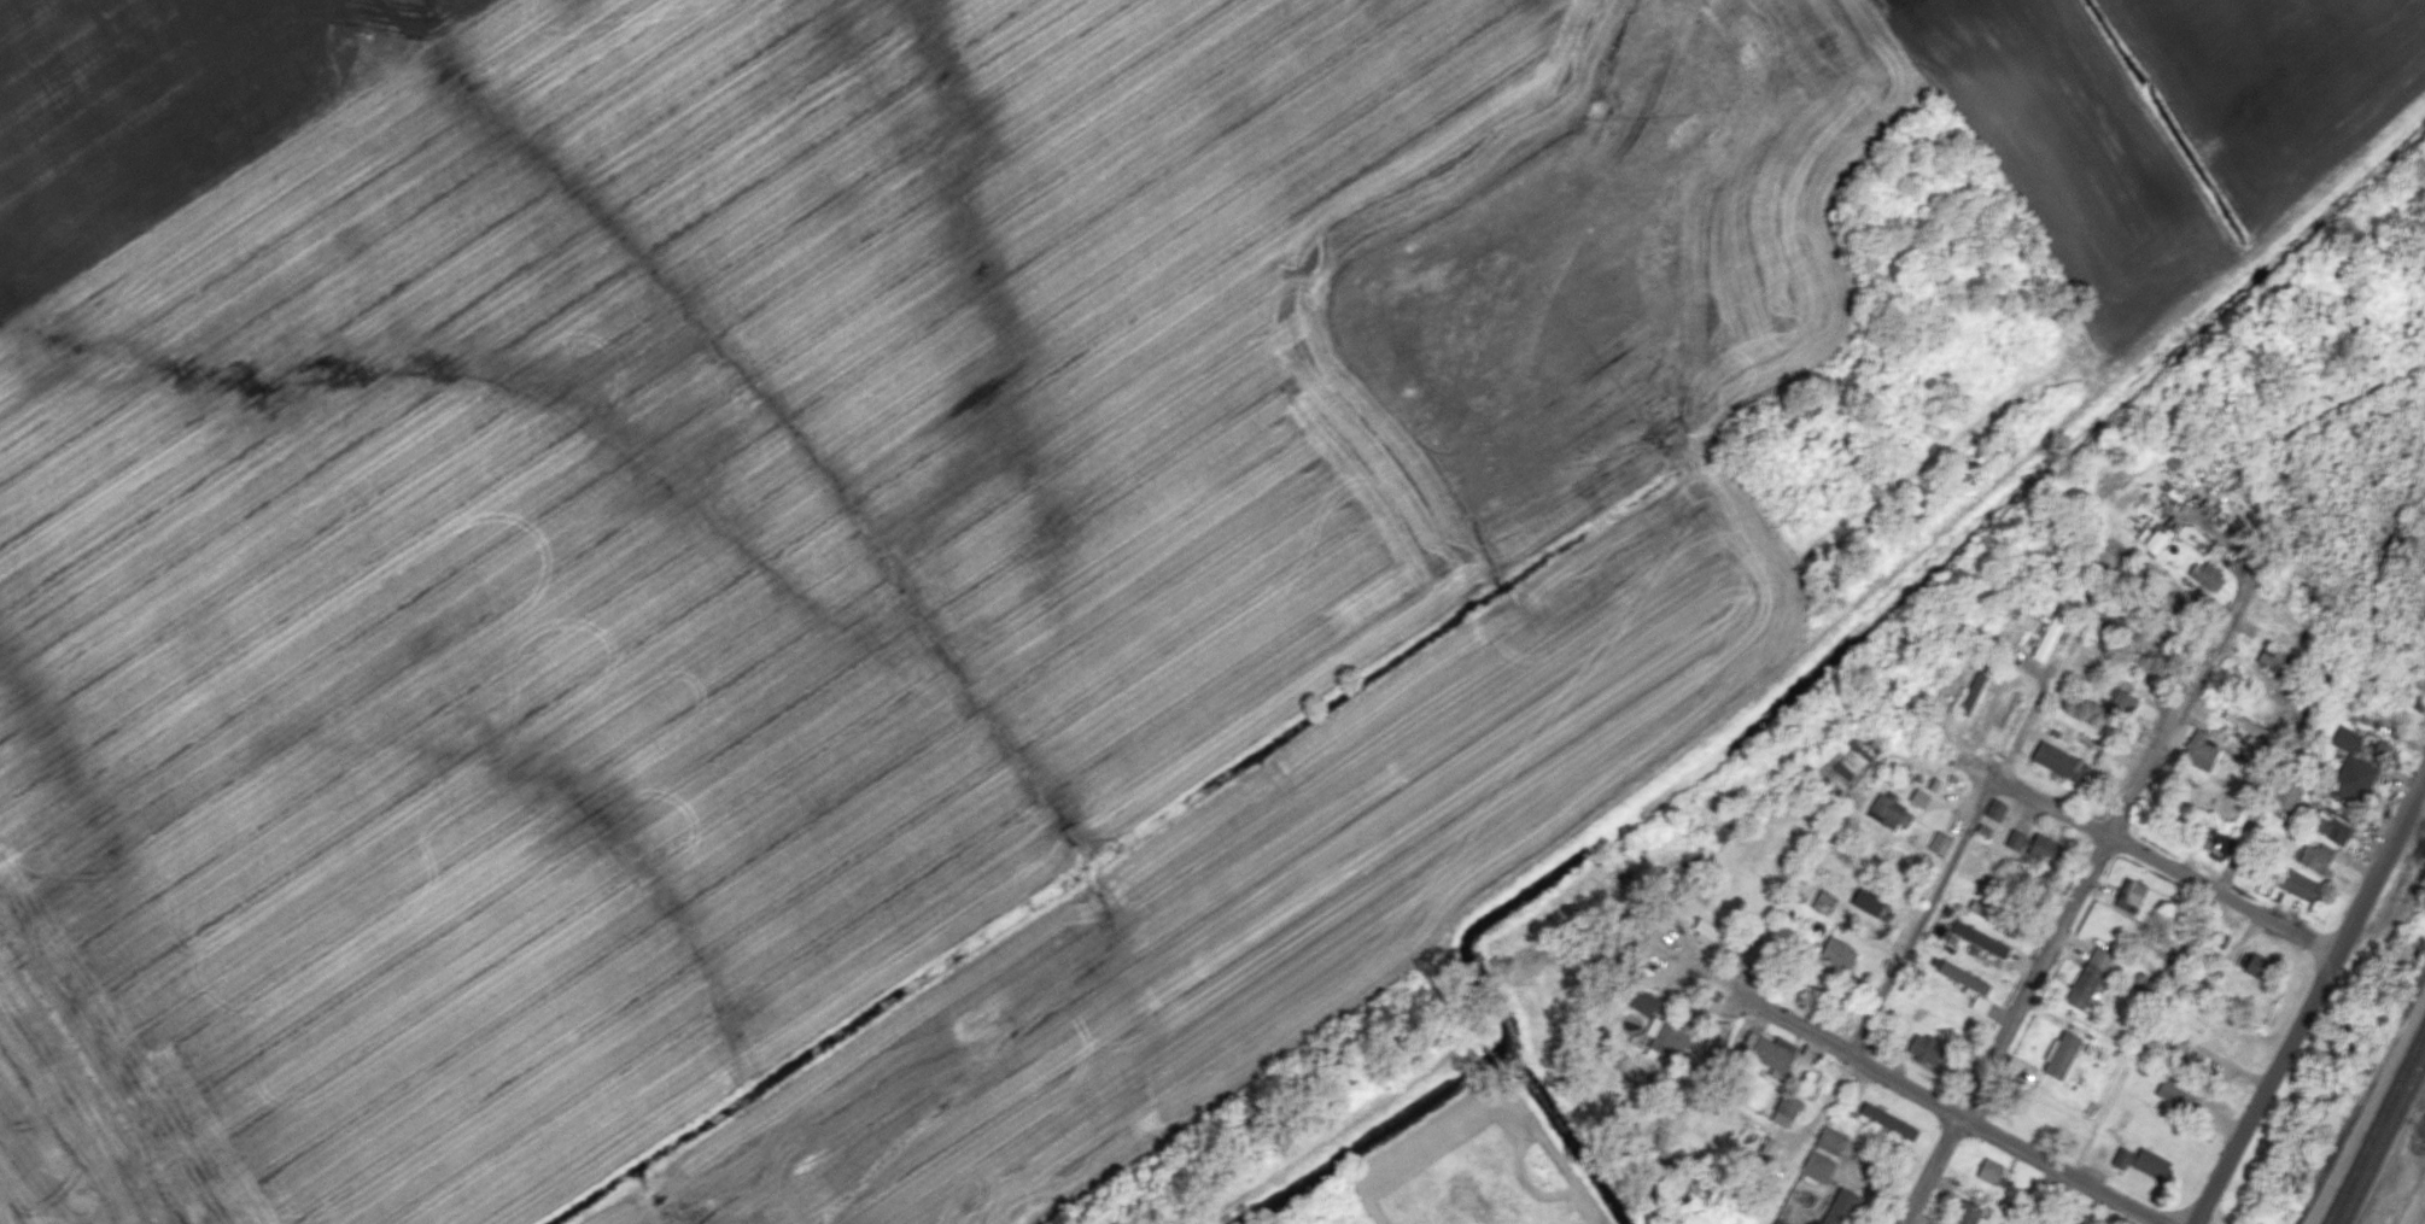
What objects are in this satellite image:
crop: (900, 531)
road: (2246, 560)
building: (2047, 639)
building: (2273, 661)
building: (1973, 689)
building: (2120, 703)
road: (2026, 719)
building: (2242, 722)
building: (2079, 725)
building: (2347, 739)
building: (2199, 750)
building: (2059, 761)
building: (2353, 780)
building: (2286, 795)
building: (1918, 797)
building: (1995, 809)
building: (1891, 810)
building: (2330, 827)
building: (2015, 838)
building: (2215, 841)
building: (1940, 843)
building: (2043, 848)
road: (2138, 850)
building: (2316, 856)
building: (2297, 884)
building: (2129, 895)
building: (1870, 903)
road: (2080, 909)
building: (1985, 912)
building: (1706, 929)
building: (1980, 938)
building: (1837, 953)
road: (1910, 953)
building: (2259, 966)
building: (1963, 977)
building: (2088, 978)
building: (1641, 1000)
road: (2312, 1002)
building: (1980, 1003)
building: (1666, 1035)
building: (1924, 1048)
building: (1769, 1050)
building: (2062, 1056)
building: (2176, 1093)
road: (1722, 1097)
road: (1927, 1099)
building: (1786, 1109)
building: (1888, 1121)
railway: (2377, 1125)
building: (1830, 1140)
railway: (2384, 1141)
building: (1769, 1147)
building: (2141, 1161)
building: (1817, 1169)
building: (1989, 1171)
road: (1922, 1206)
building: (1840, 1207)
building: (1967, 1213)
building: (1777, 1222)

